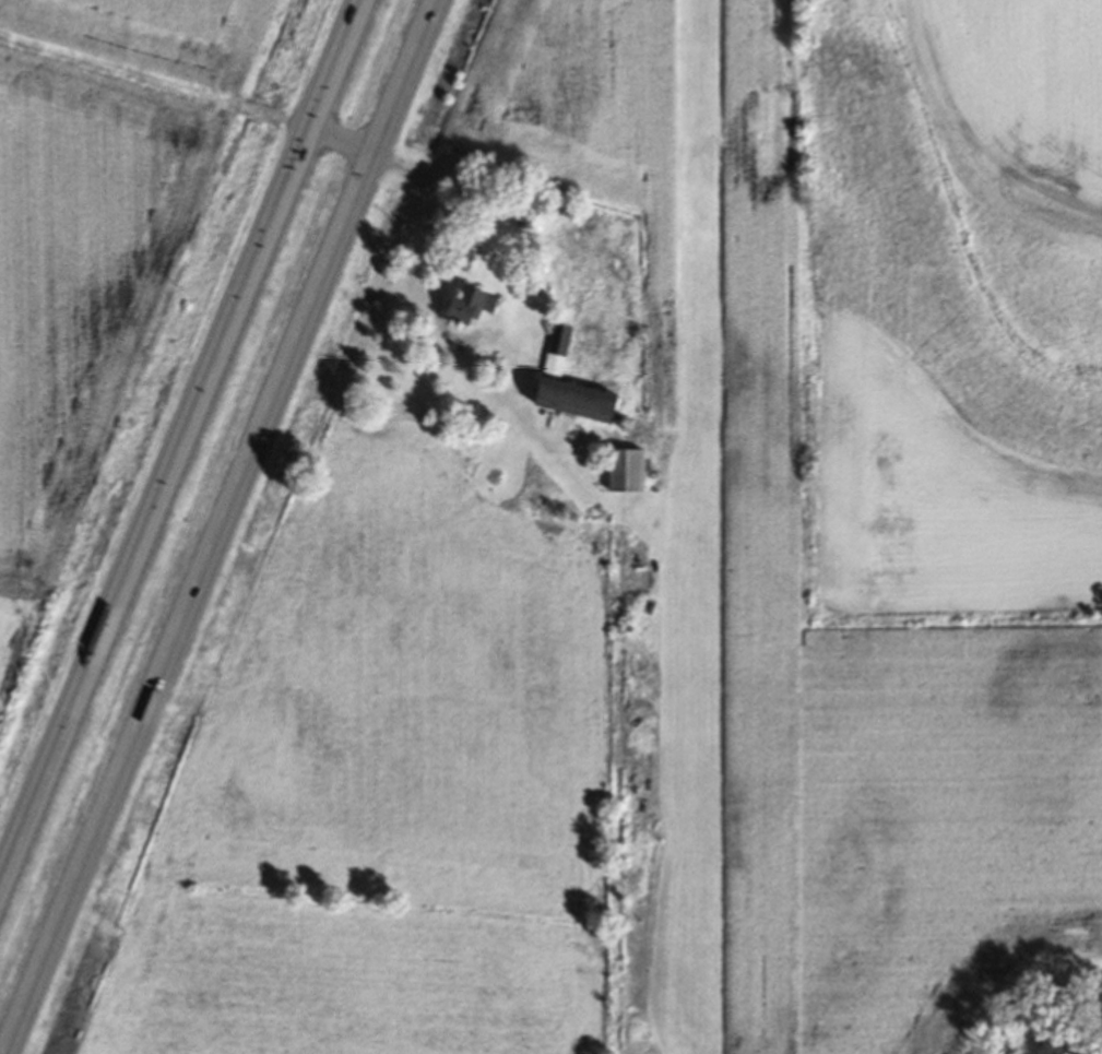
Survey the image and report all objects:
road: (337, 138)
road: (427, 236)
building: (464, 310)
building: (560, 390)
road: (176, 429)
building: (618, 475)
road: (218, 526)

